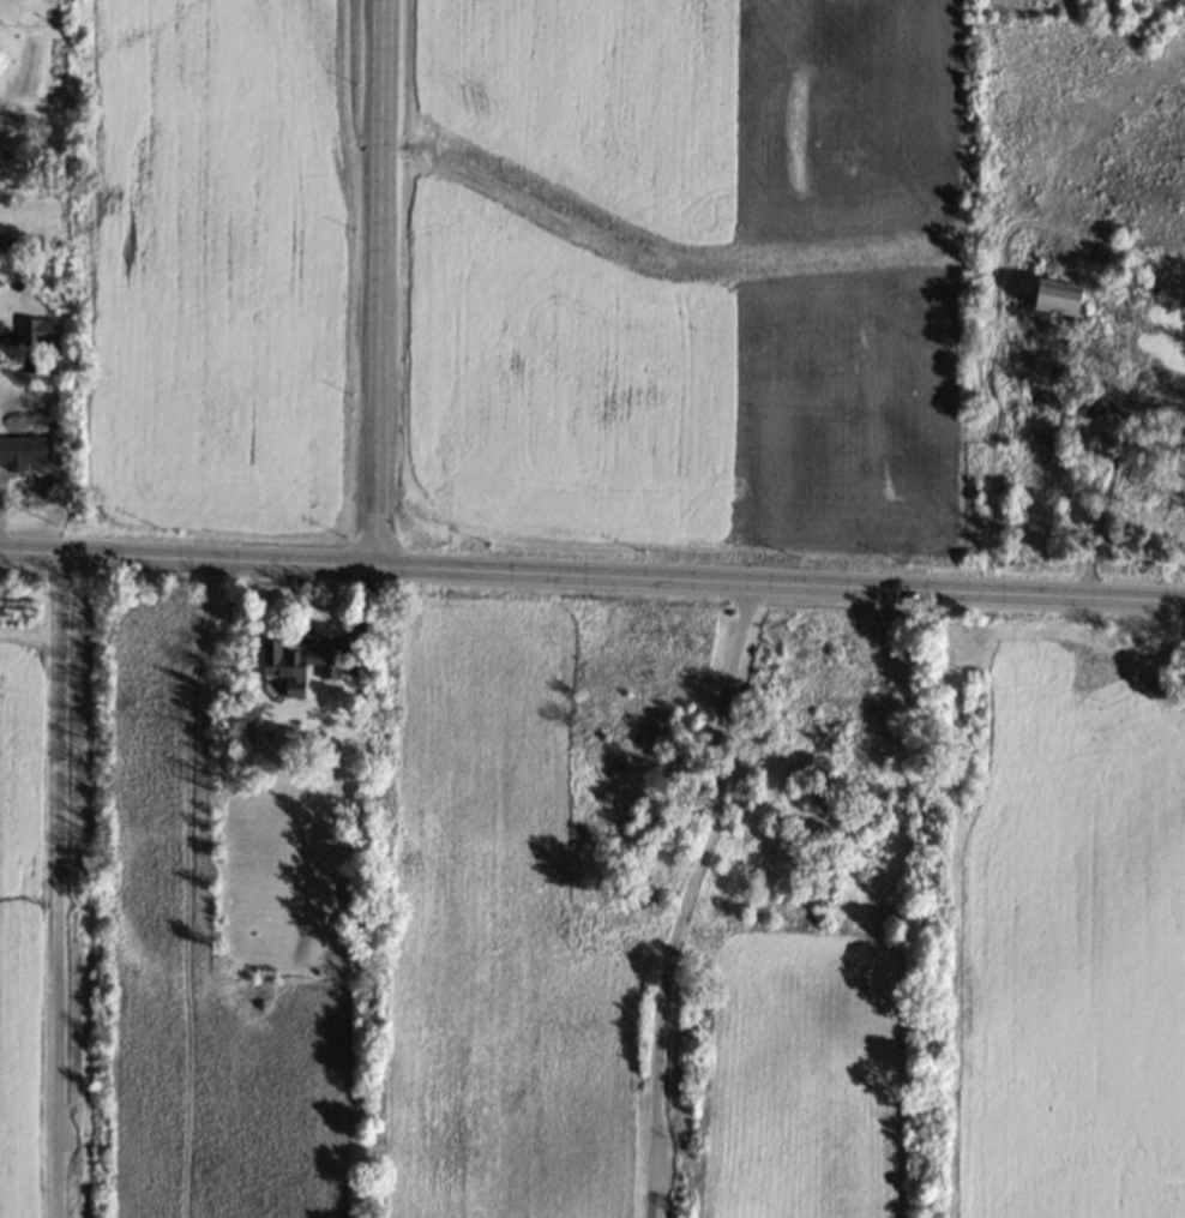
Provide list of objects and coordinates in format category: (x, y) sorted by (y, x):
road: (375, 288)
building: (1058, 296)
building: (37, 332)
building: (20, 452)
road: (1105, 479)
road: (591, 586)
building: (295, 666)
road: (56, 890)
road: (684, 901)
crop: (20, 919)
crop: (1067, 946)

